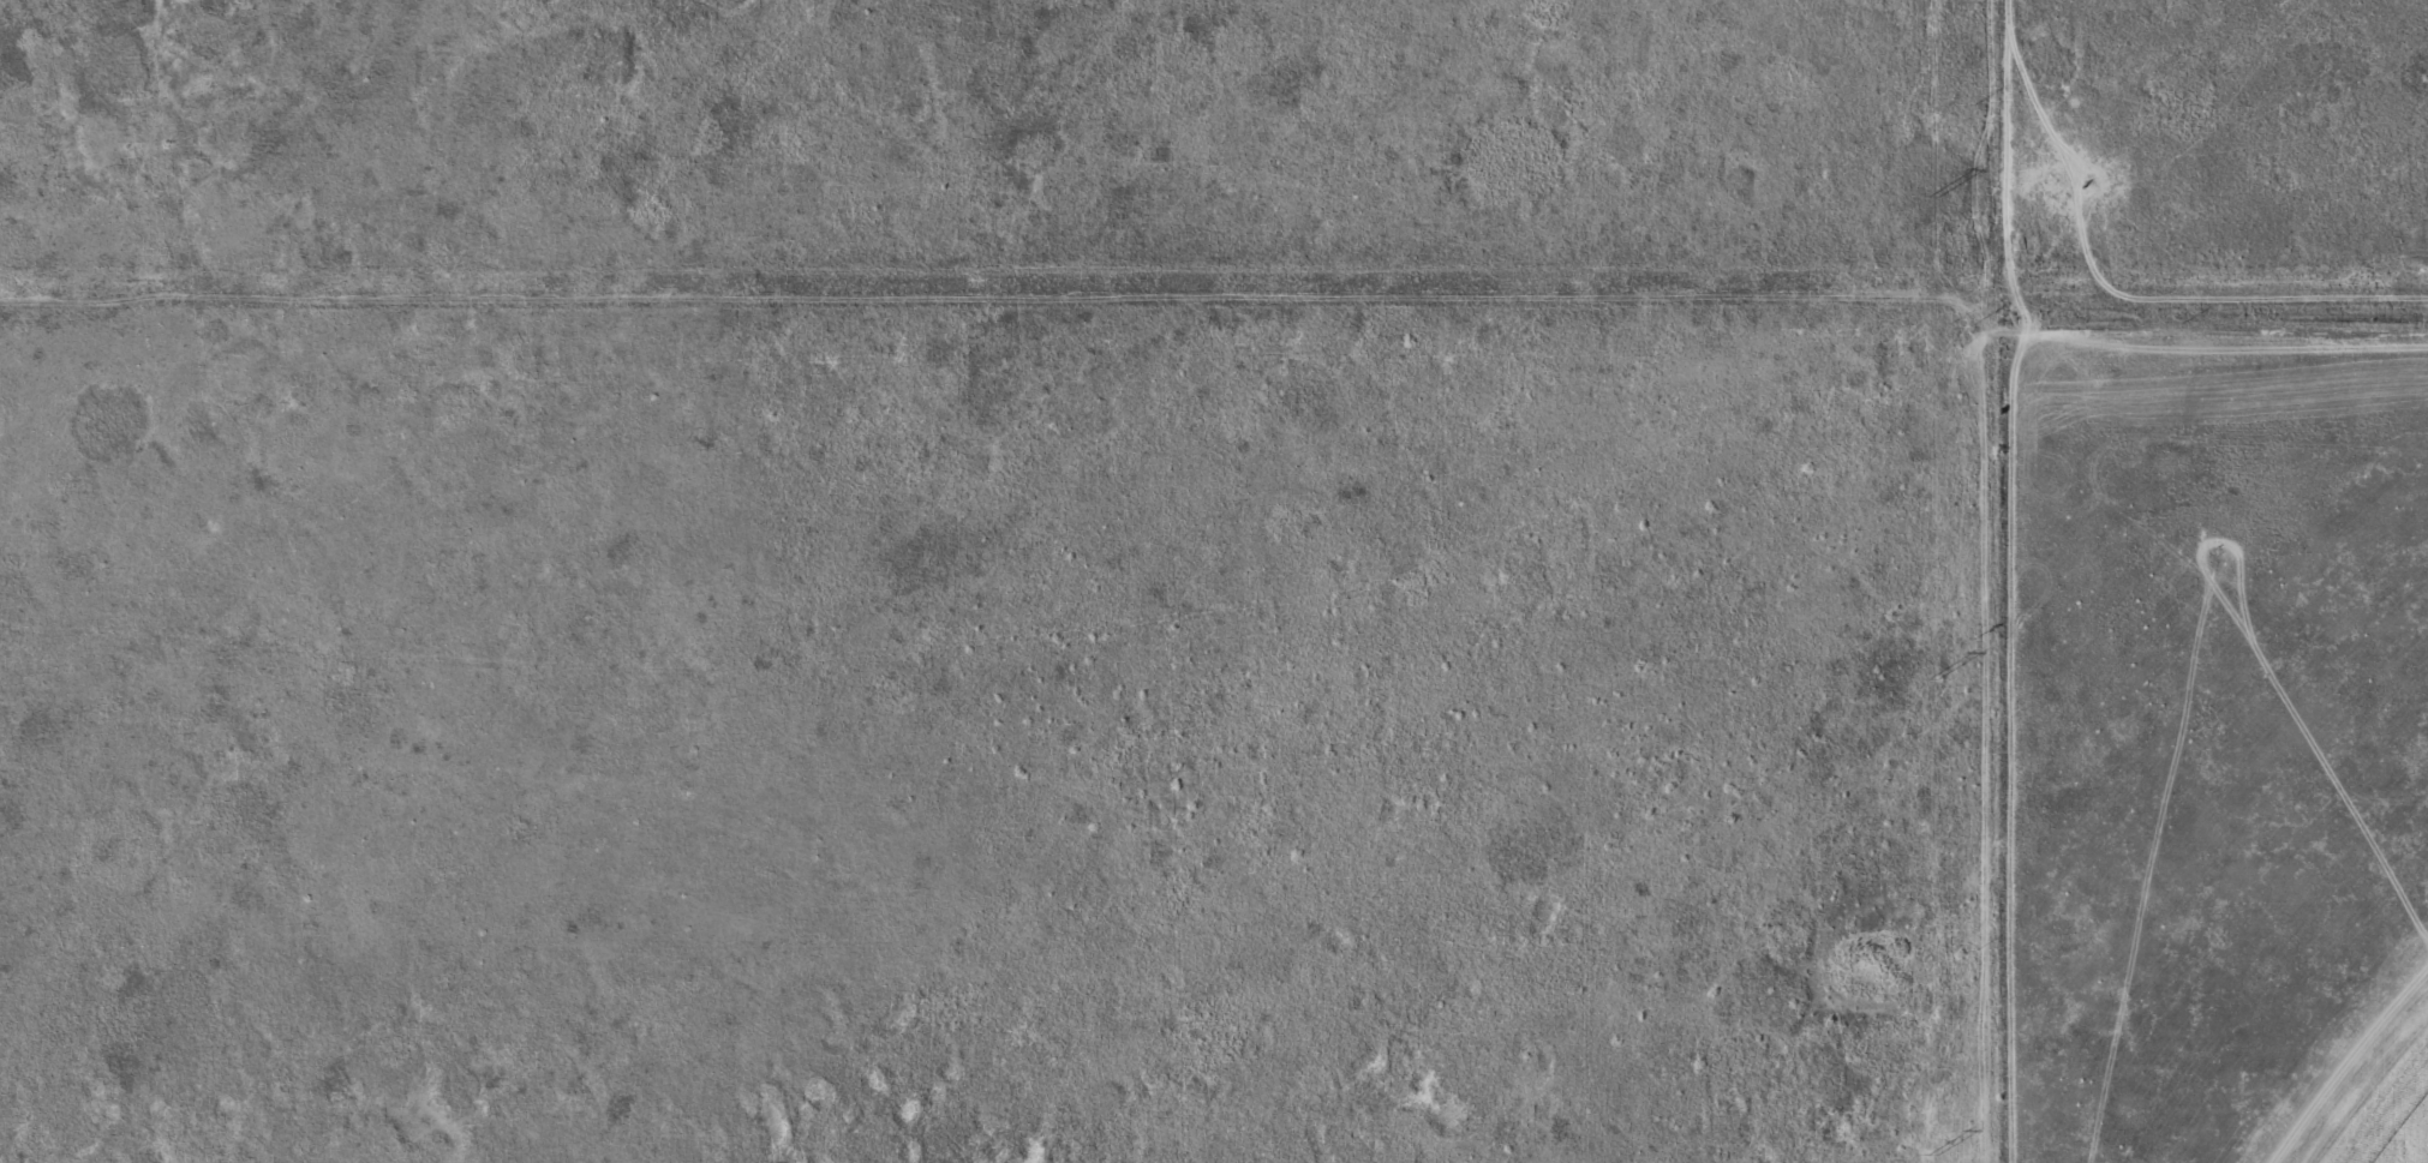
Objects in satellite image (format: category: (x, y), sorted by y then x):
power tower: (1932, 196)
road: (2206, 271)
road: (1198, 615)
power tower: (1931, 677)
road: (1981, 779)
crop: (2397, 1125)
power tower: (1926, 1153)

